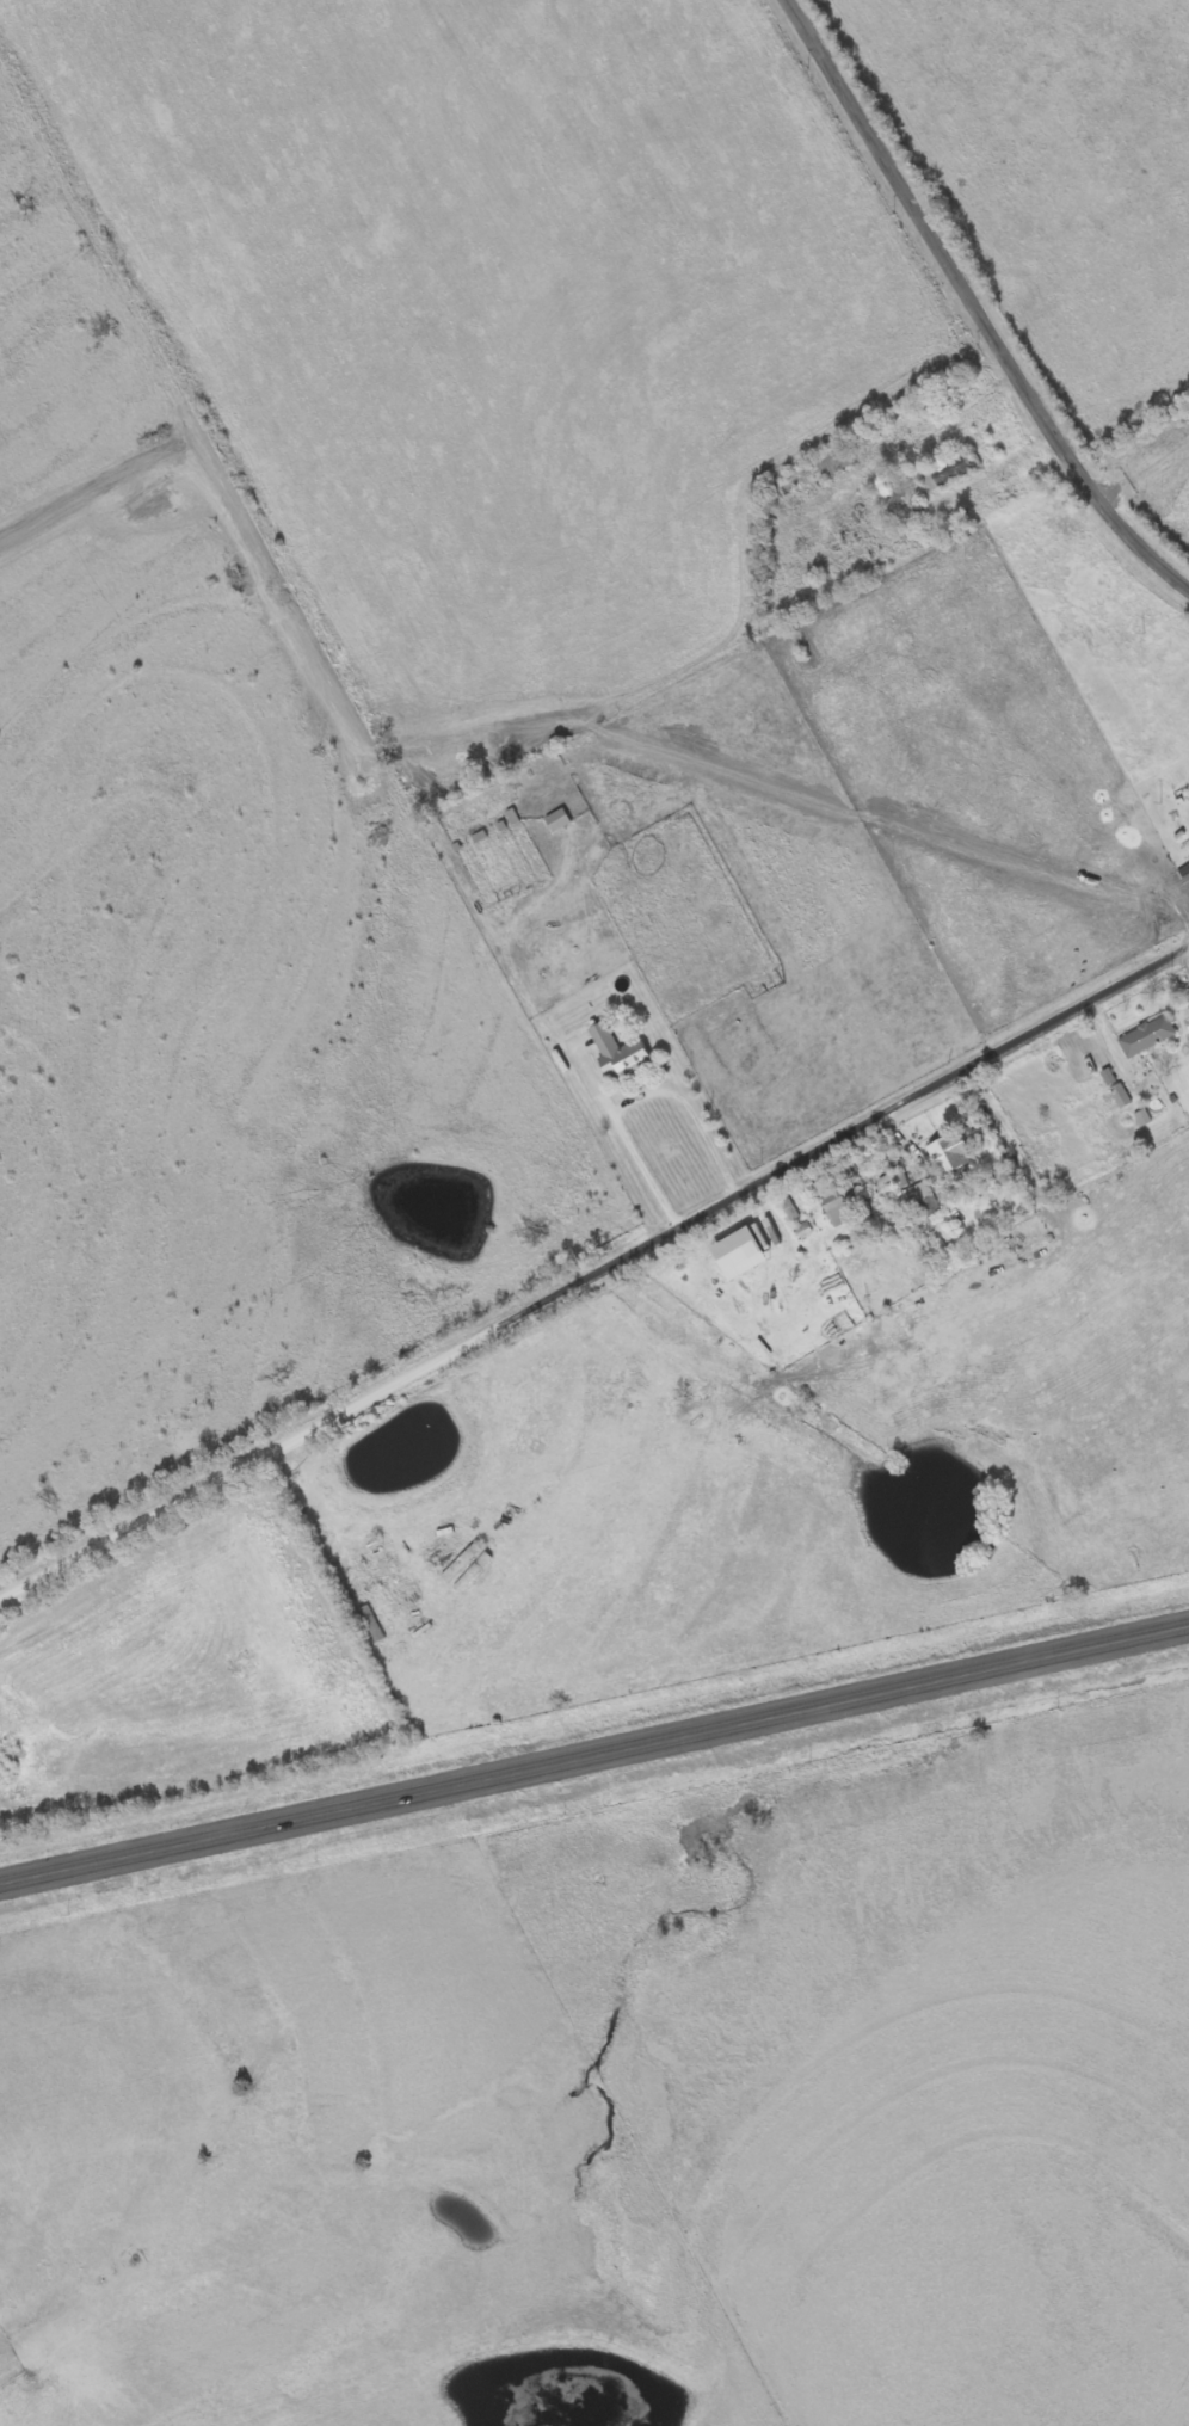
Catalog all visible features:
road: (967, 312)
building: (513, 818)
building: (557, 821)
building: (480, 838)
building: (1183, 874)
building: (1148, 1037)
building: (620, 1054)
building: (1109, 1078)
building: (1121, 1097)
building: (1144, 1119)
building: (949, 1156)
building: (922, 1200)
building: (832, 1202)
building: (790, 1212)
building: (739, 1255)
road: (596, 1276)
road: (594, 1754)

